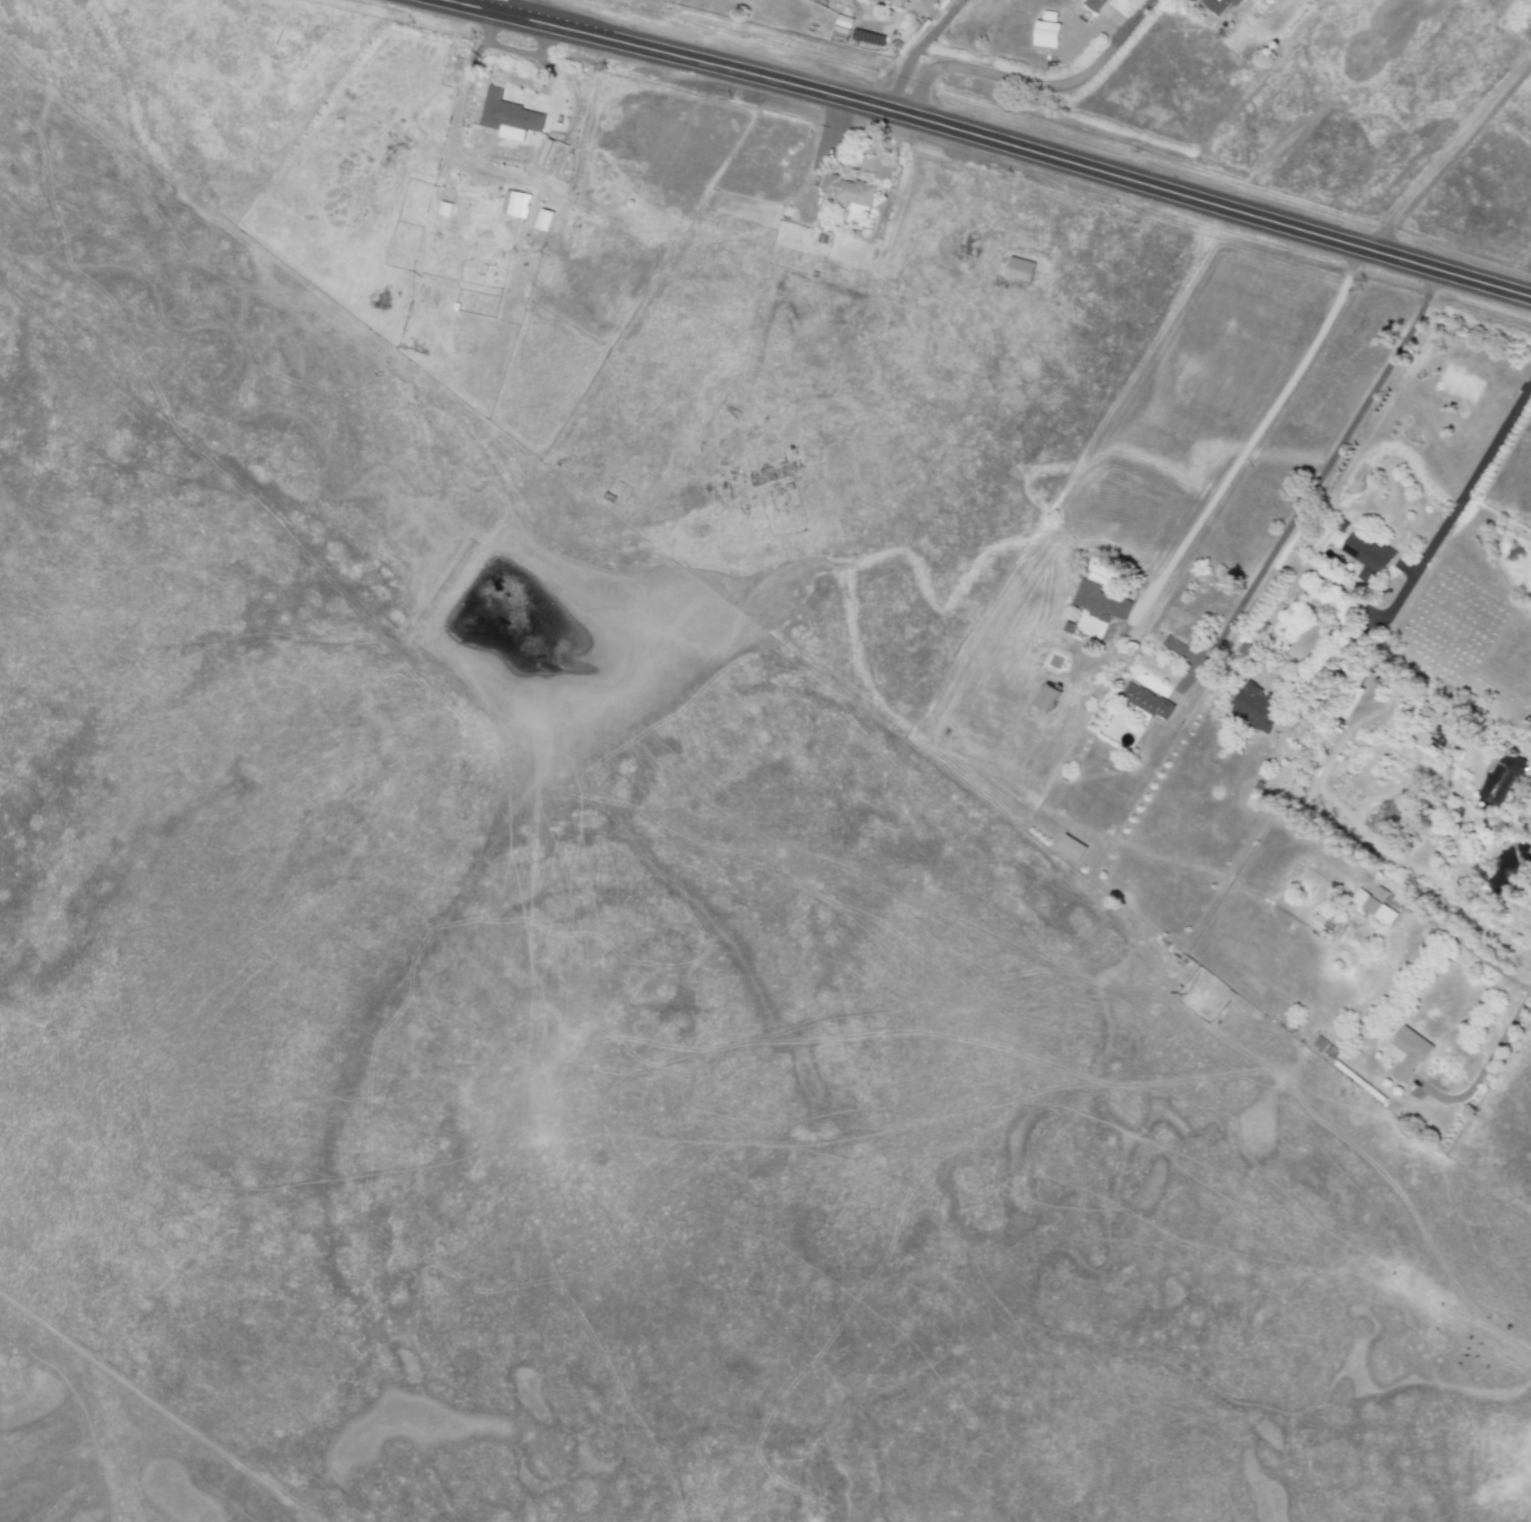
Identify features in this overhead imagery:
building: (896, 3)
building: (1094, 4)
building: (1219, 5)
road: (928, 10)
road: (1095, 21)
building: (1046, 35)
road: (920, 44)
road: (1039, 85)
building: (508, 117)
road: (1026, 134)
road: (1451, 146)
building: (848, 191)
building: (520, 201)
building: (444, 209)
building: (543, 219)
building: (1019, 269)
road: (1262, 423)
road: (1323, 468)
road: (1471, 479)
building: (1367, 557)
building: (1100, 602)
building: (1047, 697)
building: (1147, 701)
building: (1255, 708)
building: (1429, 716)
building: (1500, 777)
building: (1071, 848)
building: (1379, 894)
building: (1374, 908)
road: (1501, 1041)
building: (1323, 1050)
building: (1407, 1053)

